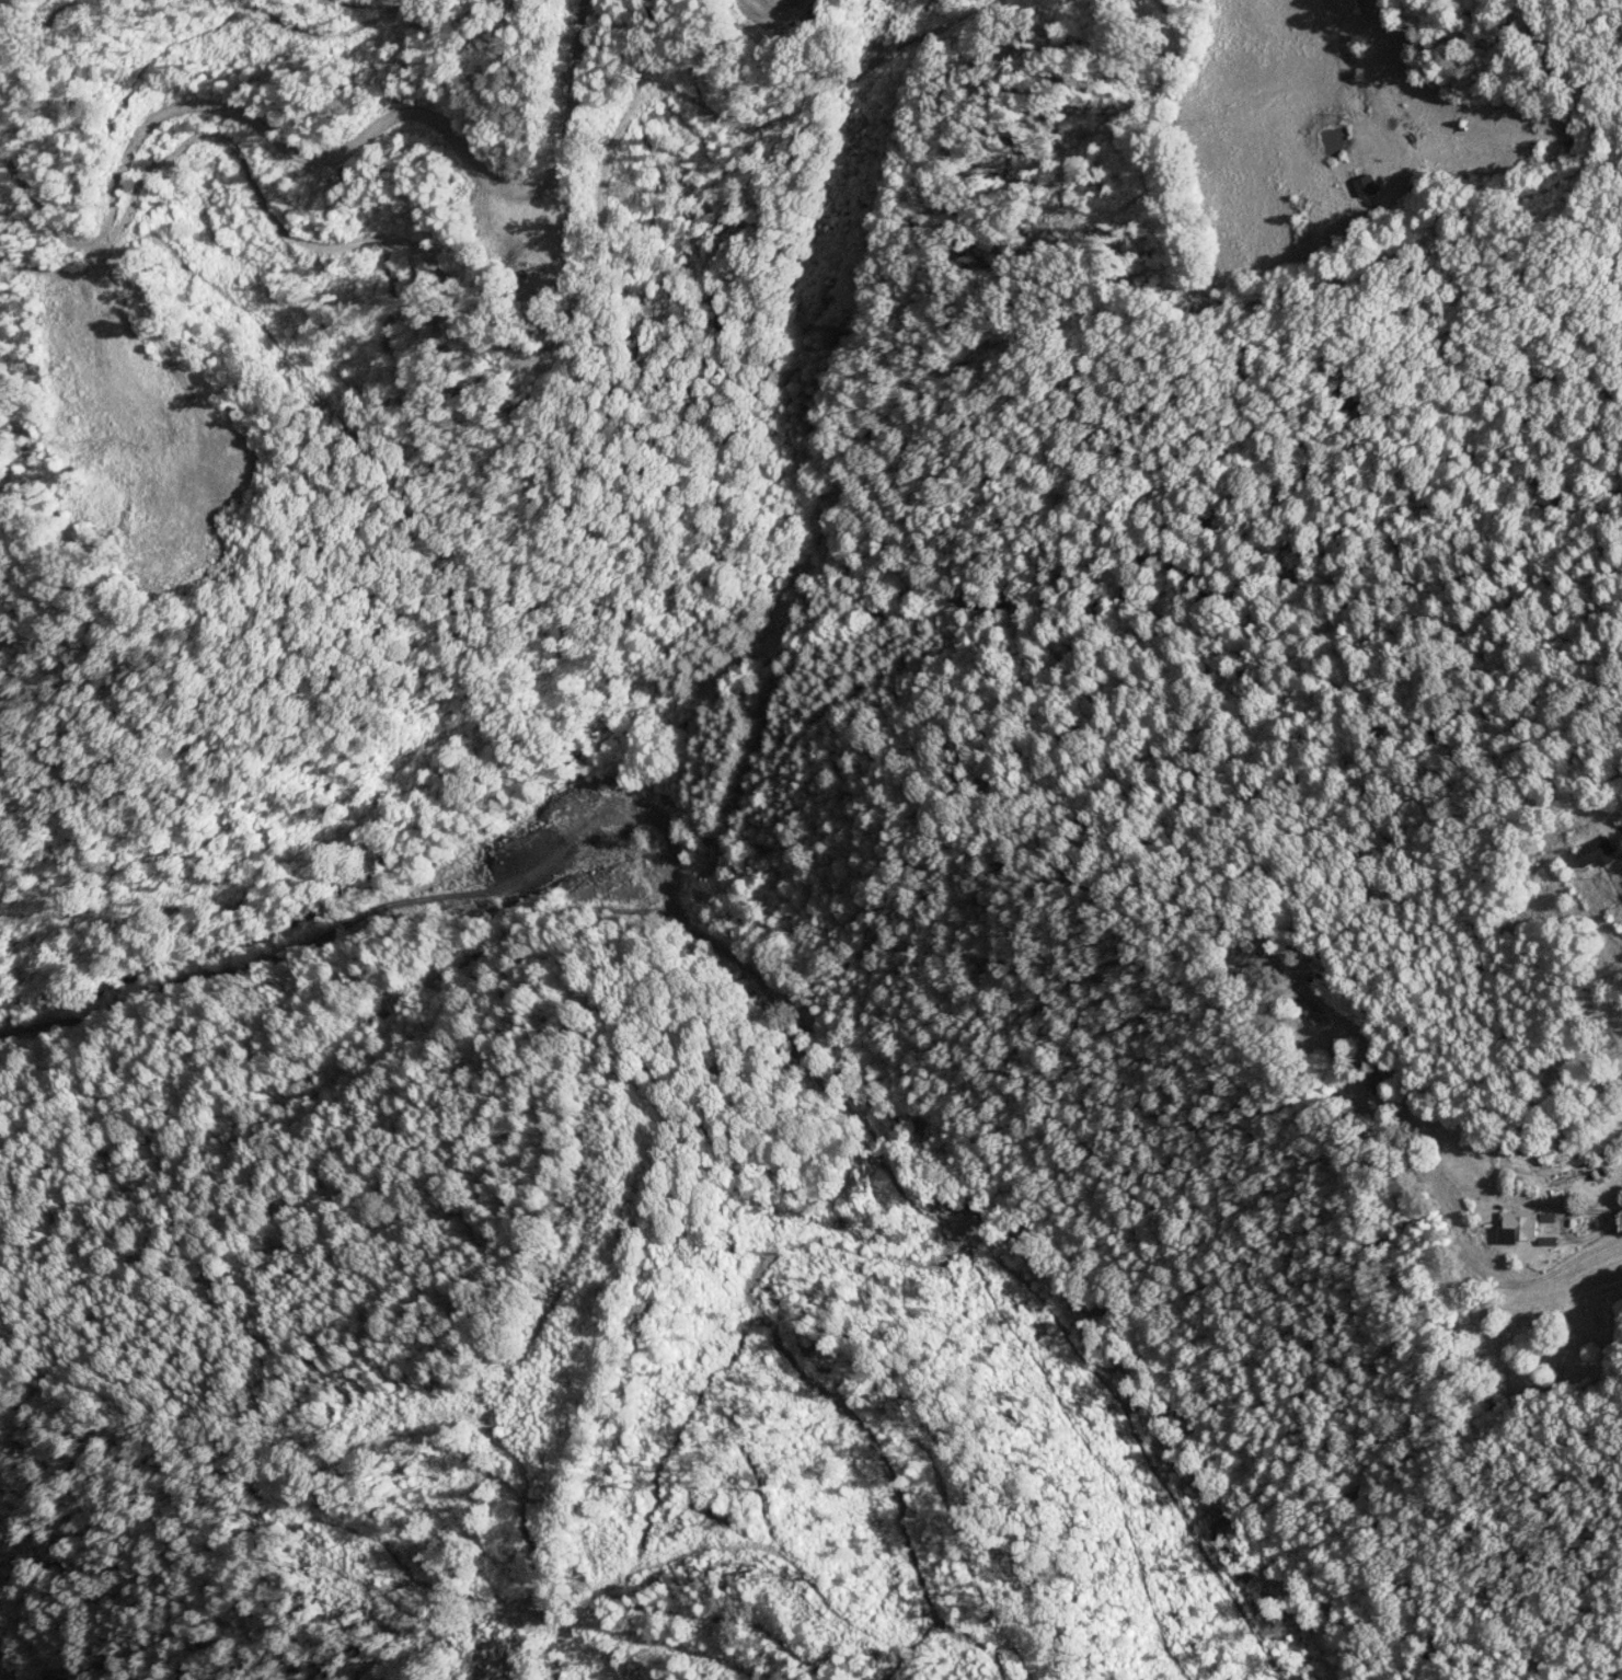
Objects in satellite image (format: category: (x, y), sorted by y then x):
building: (1367, 185)
building: (1598, 852)
road: (320, 872)
building: (1312, 1013)
road: (1586, 1075)
building: (1518, 1227)
quarry: (5, 1673)

